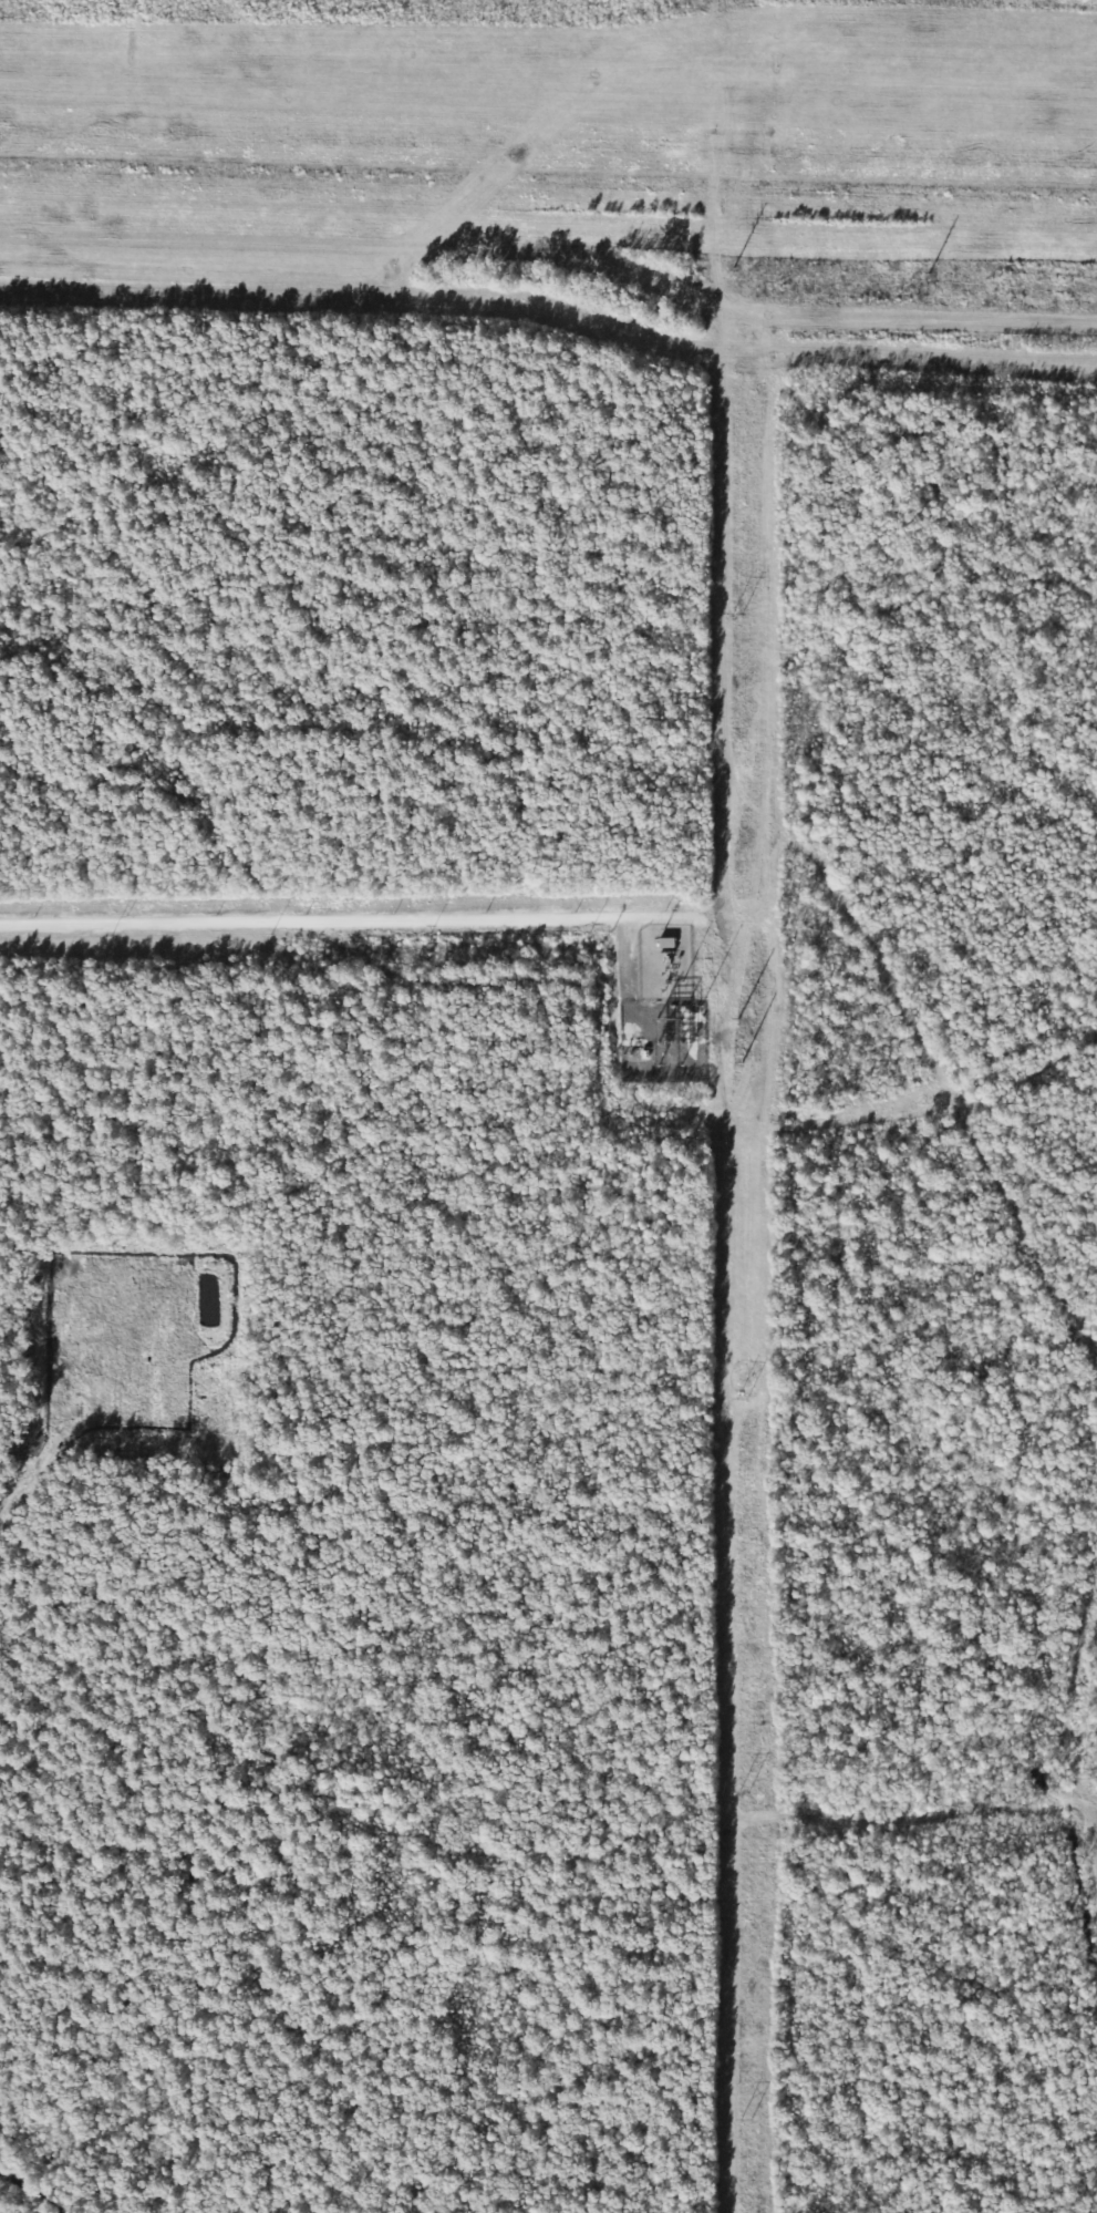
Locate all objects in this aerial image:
road: (1084, 2016)

